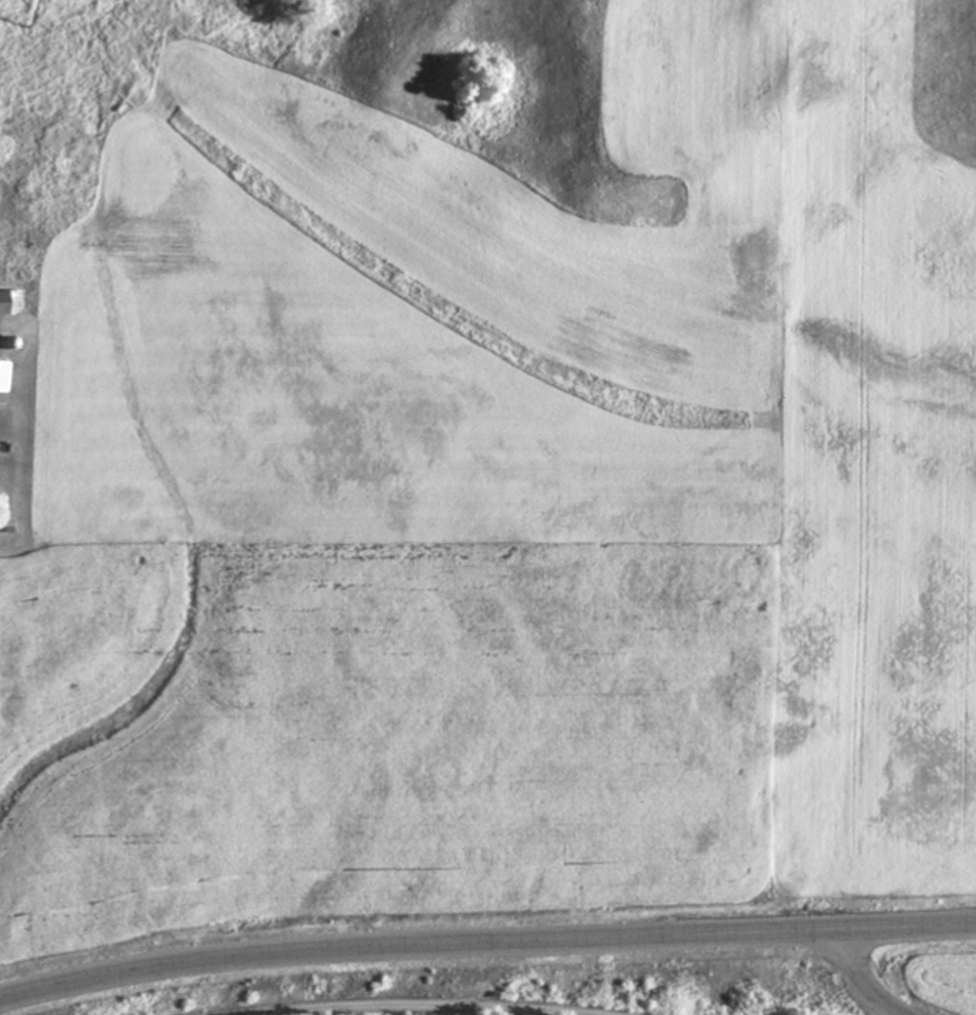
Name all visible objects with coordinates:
building: (8, 304)
building: (2, 377)
road: (485, 944)
road: (865, 980)
road: (420, 1004)

